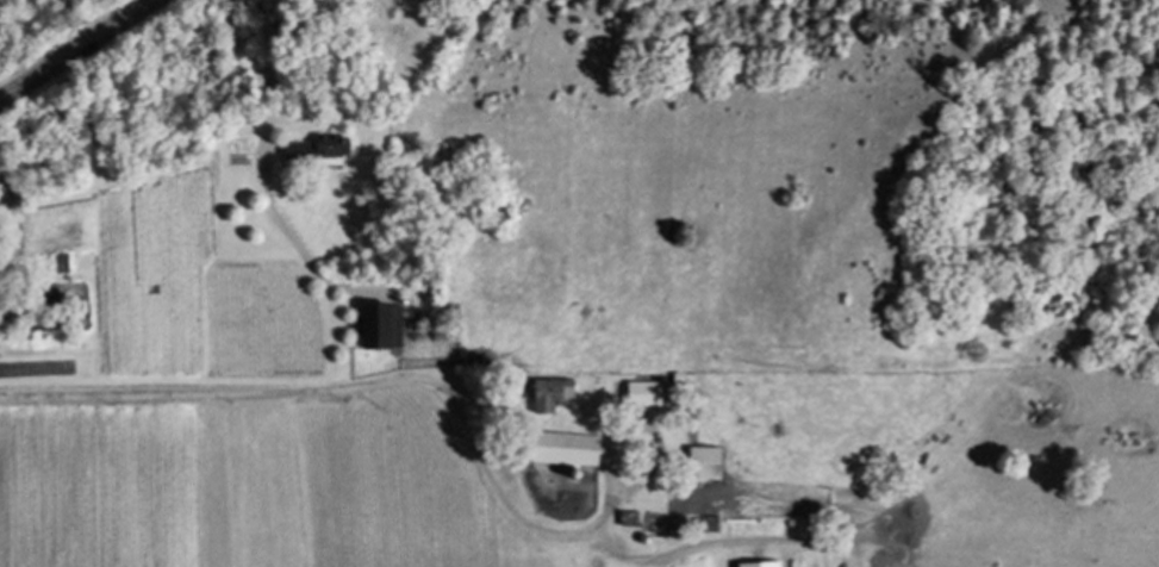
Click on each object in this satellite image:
road: (77, 49)
building: (243, 113)
building: (313, 149)
road: (262, 163)
building: (61, 261)
building: (375, 325)
building: (677, 375)
road: (359, 382)
building: (641, 392)
building: (547, 393)
building: (563, 449)
building: (699, 461)
building: (629, 521)
building: (710, 521)
building: (696, 523)
building: (760, 565)

